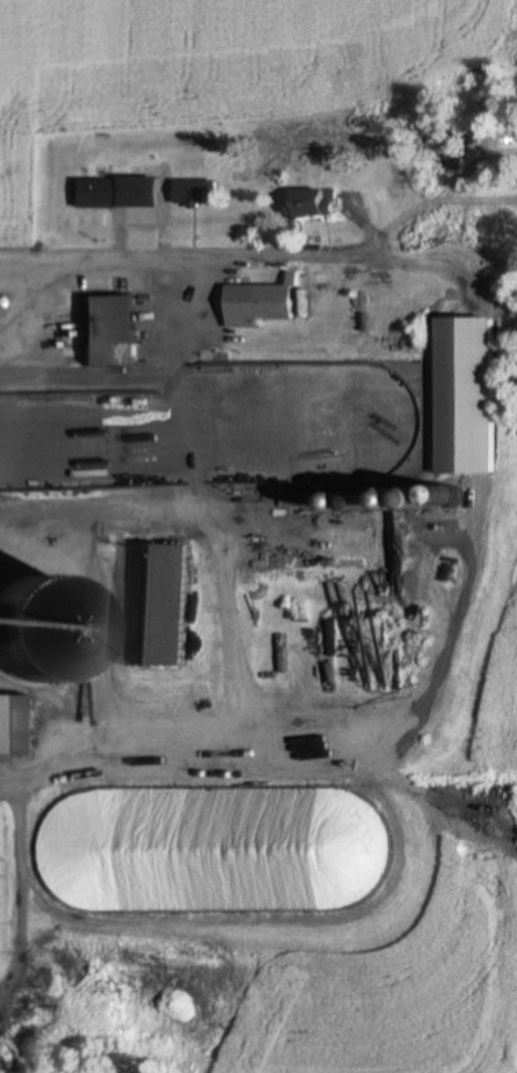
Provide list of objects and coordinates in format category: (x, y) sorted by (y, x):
crop: (207, 60)
building: (114, 191)
building: (200, 191)
building: (313, 201)
road: (176, 256)
building: (263, 303)
building: (110, 330)
building: (299, 452)
building: (458, 494)
building: (161, 604)
building: (11, 677)

